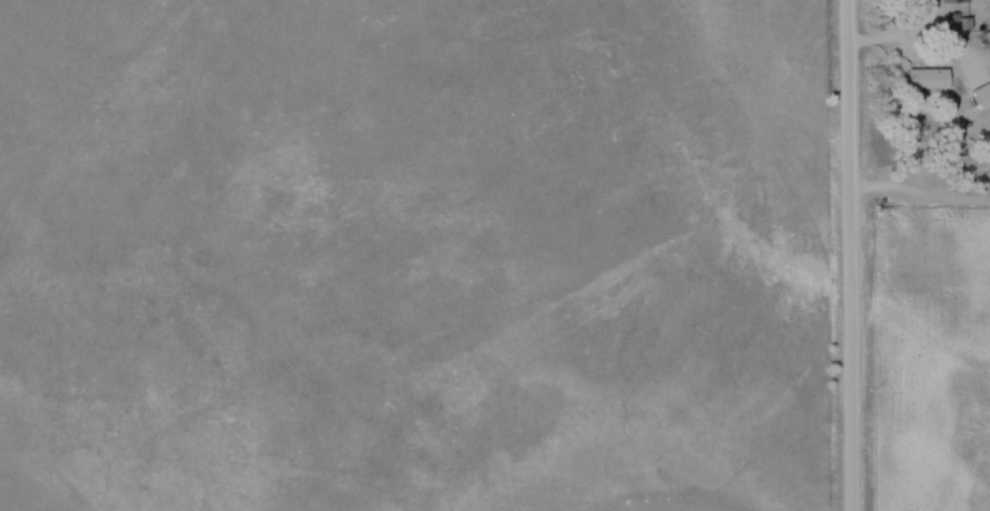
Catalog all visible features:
building: (948, 1)
road: (895, 37)
building: (925, 80)
road: (844, 255)

